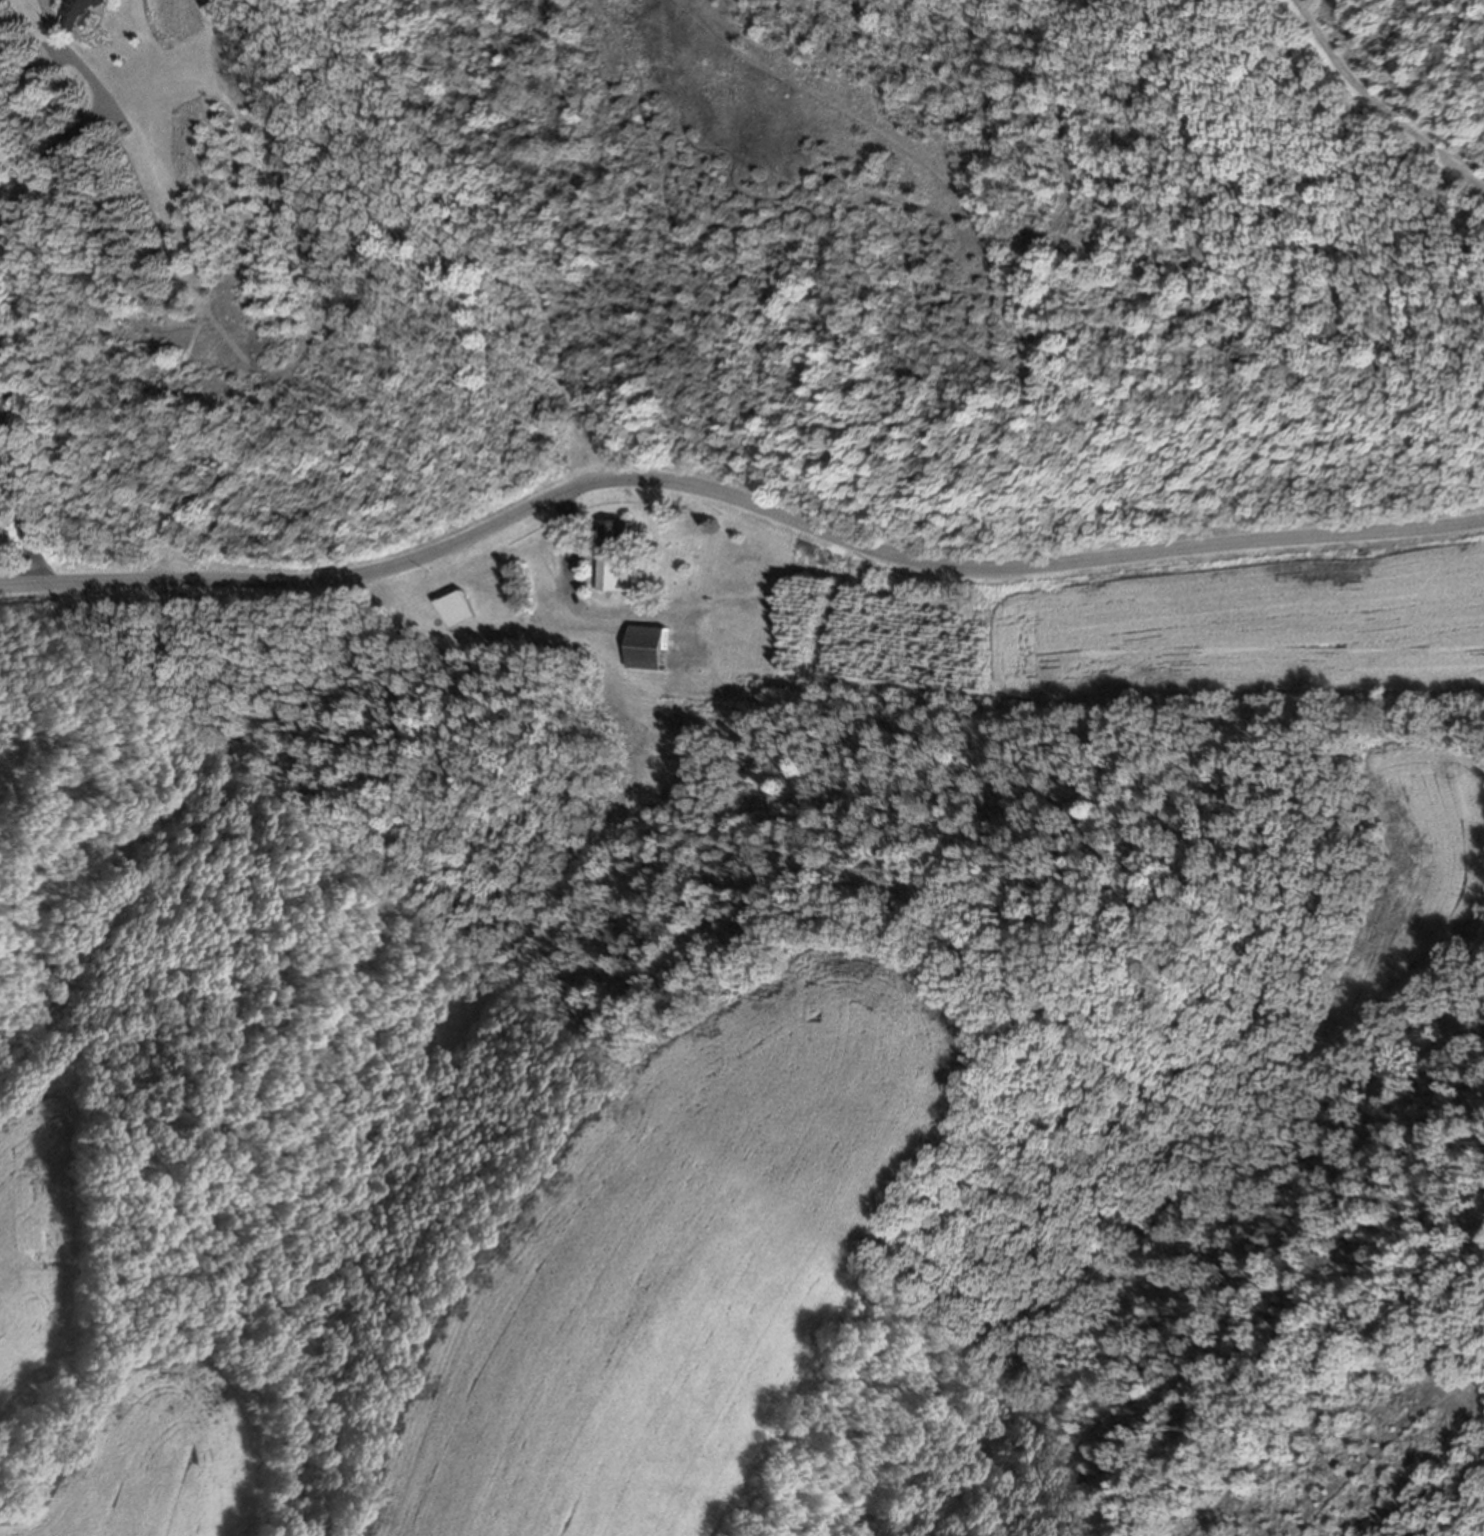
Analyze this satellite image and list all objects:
building: (80, 11)
road: (1378, 106)
road: (26, 270)
road: (738, 498)
building: (613, 549)
building: (695, 555)
building: (460, 606)
building: (713, 627)
building: (651, 646)
building: (742, 651)
building: (716, 681)
building: (3, 763)

